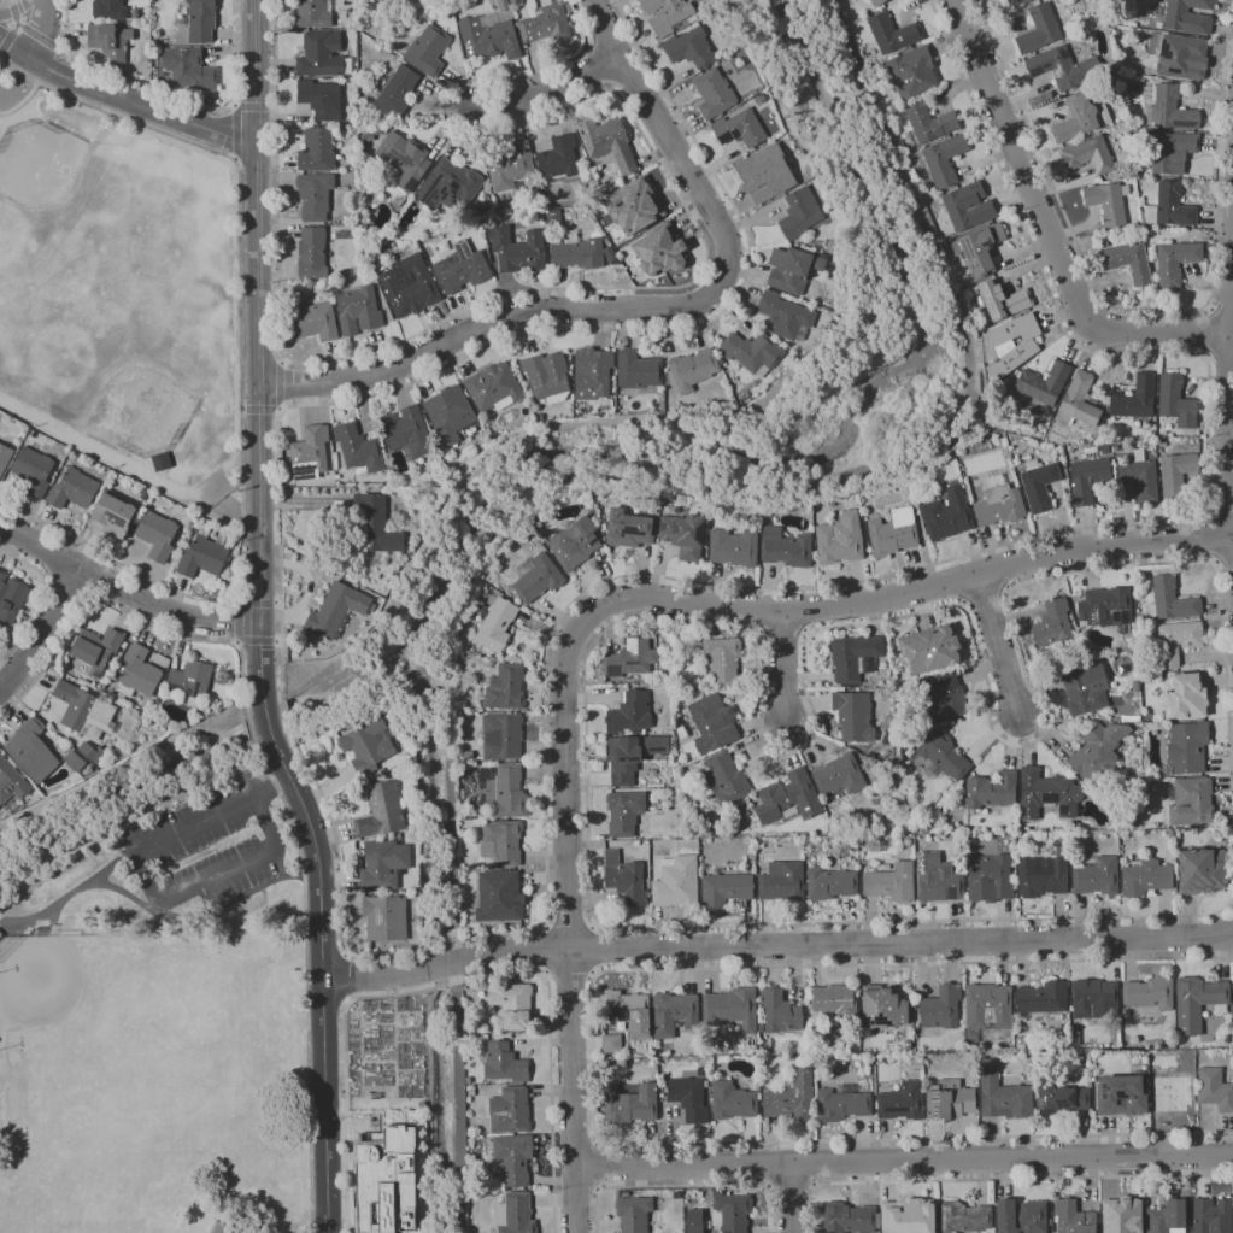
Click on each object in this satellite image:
building: (1022, 0)
building: (1026, 0)
building: (876, 2)
road: (16, 8)
road: (12, 10)
building: (108, 10)
building: (135, 14)
building: (312, 14)
building: (665, 14)
building: (1185, 16)
building: (201, 20)
building: (546, 22)
road: (17, 25)
road: (19, 25)
building: (1038, 29)
road: (39, 30)
building: (489, 34)
building: (892, 34)
road: (41, 39)
road: (6, 40)
building: (112, 42)
road: (16, 48)
building: (689, 48)
building: (427, 51)
road: (65, 53)
building: (321, 54)
building: (1181, 57)
building: (1063, 67)
building: (189, 70)
building: (912, 72)
road: (23, 78)
building: (393, 90)
road: (550, 90)
parking lot: (12, 92)
road: (172, 94)
building: (714, 94)
road: (5, 96)
building: (321, 99)
road: (20, 101)
road: (141, 105)
building: (1170, 110)
building: (1080, 118)
building: (928, 123)
building: (739, 129)
road: (667, 135)
building: (369, 136)
building: (607, 142)
building: (317, 149)
building: (1172, 152)
building: (580, 153)
building: (1091, 153)
building: (558, 157)
building: (404, 159)
building: (944, 159)
building: (511, 168)
building: (764, 175)
building: (923, 178)
building: (448, 186)
park: (52, 192)
building: (315, 195)
building: (1106, 202)
building: (633, 206)
building: (968, 206)
building: (1169, 206)
building: (483, 209)
building: (497, 211)
building: (799, 213)
building: (488, 223)
road: (1047, 229)
building: (1192, 233)
building: (1104, 242)
building: (979, 248)
building: (517, 249)
building: (660, 249)
building: (312, 254)
building: (577, 254)
building: (1128, 262)
building: (1175, 262)
building: (462, 268)
building: (793, 268)
building: (834, 270)
building: (409, 286)
road: (622, 288)
building: (1003, 299)
road: (1221, 305)
road: (1139, 309)
building: (358, 311)
building: (783, 316)
road: (231, 318)
building: (315, 322)
road: (493, 322)
road: (1204, 333)
road: (528, 335)
building: (1011, 345)
building: (751, 352)
road: (257, 354)
road: (1219, 356)
road: (280, 363)
building: (692, 369)
building: (636, 370)
building: (592, 372)
building: (546, 375)
road: (241, 378)
building: (1043, 383)
park: (134, 384)
road: (277, 386)
building: (493, 387)
building: (1134, 398)
building: (1079, 401)
building: (1175, 401)
road: (259, 409)
road: (278, 410)
road: (1231, 411)
building: (450, 413)
building: (406, 433)
building: (1162, 444)
building: (358, 448)
building: (1090, 450)
building: (1105, 450)
building: (310, 453)
building: (5, 457)
building: (162, 462)
building: (33, 471)
building: (1176, 474)
building: (1087, 478)
building: (1137, 478)
building: (1039, 486)
building: (72, 491)
building: (657, 495)
building: (998, 501)
road: (1221, 512)
building: (112, 515)
building: (947, 515)
road: (1182, 519)
building: (376, 524)
building: (628, 529)
building: (893, 533)
building: (157, 535)
building: (683, 535)
road: (1211, 538)
building: (840, 539)
building: (574, 544)
building: (733, 547)
building: (785, 548)
road: (52, 554)
building: (202, 558)
road: (1223, 563)
road: (998, 570)
road: (93, 577)
building: (538, 579)
road: (956, 582)
building: (483, 585)
road: (64, 588)
road: (123, 589)
road: (912, 592)
road: (39, 594)
building: (11, 599)
road: (235, 599)
building: (1170, 600)
road: (276, 601)
road: (254, 603)
building: (1106, 609)
building: (337, 610)
road: (131, 616)
road: (236, 622)
building: (1052, 623)
building: (495, 626)
road: (46, 630)
building: (1175, 640)
road: (253, 641)
road: (277, 642)
road: (234, 644)
building: (1078, 645)
road: (998, 646)
building: (296, 648)
building: (95, 650)
building: (929, 650)
building: (630, 658)
building: (855, 658)
building: (722, 660)
road: (782, 665)
building: (668, 671)
building: (137, 674)
building: (221, 677)
building: (189, 682)
road: (761, 685)
building: (505, 687)
building: (1135, 687)
building: (1084, 689)
building: (1186, 695)
building: (943, 698)
building: (84, 711)
road: (284, 711)
road: (6, 712)
building: (629, 714)
building: (853, 716)
building: (1131, 718)
road: (266, 720)
building: (712, 723)
road: (248, 728)
building: (501, 736)
building: (900, 740)
building: (1135, 742)
building: (368, 745)
building: (654, 745)
building: (1187, 746)
building: (31, 751)
building: (92, 752)
building: (1098, 753)
building: (468, 756)
building: (940, 756)
building: (623, 759)
building: (76, 763)
building: (1158, 774)
building: (839, 775)
building: (75, 779)
building: (726, 779)
building: (11, 785)
building: (991, 791)
building: (509, 792)
building: (1047, 794)
building: (788, 798)
building: (1191, 802)
building: (381, 811)
building: (623, 812)
building: (932, 824)
building: (1075, 826)
building: (1158, 827)
building: (1170, 833)
building: (501, 842)
building: (768, 849)
parking lot: (204, 853)
building: (383, 864)
building: (1200, 870)
building: (1043, 875)
building: (1097, 876)
building: (1145, 877)
building: (935, 879)
building: (990, 879)
building: (624, 880)
building: (676, 882)
building: (782, 882)
building: (891, 882)
building: (829, 883)
building: (726, 888)
road: (153, 889)
road: (128, 893)
building: (499, 897)
road: (71, 898)
building: (384, 918)
road: (568, 918)
road: (569, 924)
building: (0, 934)
road: (457, 941)
road: (776, 945)
road: (544, 950)
road: (594, 950)
road: (344, 953)
road: (569, 975)
road: (322, 976)
road: (342, 977)
road: (305, 980)
road: (459, 982)
building: (1149, 996)
building: (1043, 998)
building: (838, 999)
building: (1094, 999)
road: (345, 1000)
building: (1197, 1003)
park: (159, 1004)
building: (512, 1004)
park: (61, 1005)
building: (1232, 1005)
building: (882, 1008)
building: (941, 1008)
building: (730, 1009)
building: (986, 1009)
building: (780, 1011)
building: (626, 1012)
building: (673, 1014)
building: (1126, 1014)
park: (159, 1017)
building: (761, 1028)
building: (1020, 1043)
building: (611, 1044)
building: (908, 1045)
road: (592, 1056)
building: (504, 1062)
building: (604, 1063)
building: (987, 1063)
building: (1170, 1088)
building: (1215, 1090)
building: (688, 1097)
building: (1127, 1097)
building: (1004, 1098)
building: (792, 1099)
building: (949, 1099)
building: (1059, 1099)
building: (732, 1100)
building: (900, 1102)
building: (629, 1105)
building: (841, 1105)
park: (80, 1110)
building: (510, 1110)
road: (575, 1146)
building: (513, 1158)
road: (768, 1164)
road: (810, 1164)
road: (598, 1166)
road: (904, 1166)
road: (1000, 1179)
building: (383, 1182)
road: (683, 1186)
road: (789, 1187)
road: (575, 1188)
road: (797, 1199)
building: (730, 1211)
building: (515, 1214)
building: (633, 1214)
building: (1211, 1216)
building: (909, 1217)
building: (963, 1217)
building: (1022, 1217)
building: (1071, 1217)
building: (1120, 1217)
building: (1167, 1217)
building: (849, 1219)
building: (217, 1228)

